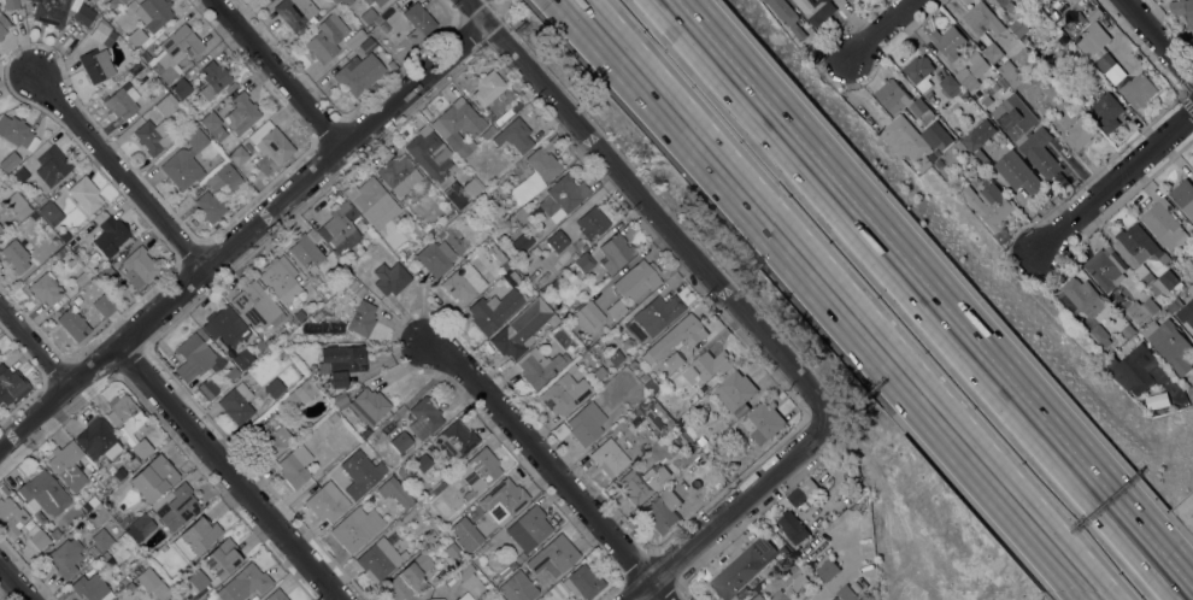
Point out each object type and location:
building: (114, 1)
building: (346, 1)
building: (365, 1)
building: (378, 1)
building: (10, 4)
building: (1006, 4)
road: (495, 10)
building: (817, 10)
building: (51, 11)
building: (295, 11)
building: (1182, 11)
building: (153, 12)
building: (83, 13)
building: (366, 16)
building: (786, 16)
building: (1091, 16)
building: (982, 19)
building: (417, 20)
building: (2, 24)
building: (1018, 28)
road: (877, 30)
building: (1070, 30)
building: (102, 31)
building: (325, 36)
building: (136, 37)
building: (354, 37)
building: (1093, 40)
building: (947, 41)
road: (1157, 41)
building: (181, 42)
building: (366, 43)
building: (992, 52)
building: (1105, 61)
building: (96, 64)
building: (164, 70)
road: (276, 71)
building: (358, 72)
building: (919, 72)
building: (971, 72)
building: (1011, 73)
building: (213, 77)
building: (1001, 82)
building: (230, 86)
building: (950, 86)
building: (181, 87)
building: (994, 87)
building: (1007, 89)
building: (1138, 89)
building: (492, 92)
building: (157, 93)
building: (124, 98)
building: (901, 100)
building: (165, 105)
building: (1106, 111)
building: (241, 112)
building: (213, 124)
building: (458, 127)
building: (14, 130)
building: (487, 130)
building: (1080, 133)
building: (153, 134)
building: (1027, 134)
building: (936, 135)
building: (977, 135)
building: (515, 136)
building: (903, 139)
building: (270, 142)
building: (935, 152)
building: (237, 154)
building: (982, 157)
building: (8, 159)
building: (184, 160)
building: (543, 163)
building: (938, 163)
building: (52, 164)
building: (441, 166)
road: (121, 170)
building: (1018, 172)
building: (399, 173)
building: (19, 175)
road: (1112, 175)
building: (224, 178)
building: (539, 184)
building: (84, 193)
building: (563, 194)
building: (1183, 196)
building: (372, 200)
building: (18, 204)
building: (988, 204)
building: (210, 206)
road: (650, 206)
building: (49, 211)
building: (593, 220)
building: (1163, 223)
building: (0, 228)
building: (340, 229)
road: (243, 234)
building: (440, 234)
building: (64, 235)
building: (111, 235)
building: (556, 239)
building: (521, 241)
building: (305, 248)
building: (615, 251)
building: (14, 255)
building: (435, 257)
building: (584, 261)
building: (1134, 261)
building: (504, 264)
building: (139, 265)
building: (1105, 267)
building: (510, 276)
building: (81, 277)
building: (281, 277)
building: (390, 277)
building: (111, 280)
building: (466, 280)
building: (636, 280)
building: (554, 283)
building: (45, 288)
building: (1083, 296)
road: (833, 300)
road: (928, 300)
building: (104, 305)
building: (257, 305)
building: (1173, 307)
building: (494, 308)
building: (617, 308)
building: (1139, 312)
building: (1162, 313)
building: (1186, 313)
building: (299, 314)
building: (588, 314)
building: (656, 316)
building: (362, 318)
building: (72, 323)
building: (292, 323)
building: (225, 325)
building: (522, 328)
building: (1127, 330)
building: (1098, 334)
building: (675, 337)
road: (34, 342)
building: (1169, 343)
building: (578, 348)
building: (283, 354)
building: (615, 357)
building: (242, 358)
building: (590, 359)
building: (674, 359)
building: (198, 361)
building: (343, 361)
building: (631, 363)
building: (709, 365)
building: (539, 366)
building: (1136, 370)
building: (599, 371)
building: (231, 373)
building: (647, 381)
building: (11, 384)
building: (274, 387)
building: (734, 390)
building: (299, 393)
building: (564, 393)
road: (1188, 394)
road: (1176, 396)
building: (236, 402)
building: (364, 404)
building: (741, 408)
building: (125, 412)
building: (333, 416)
building: (424, 417)
building: (586, 422)
building: (765, 422)
building: (98, 437)
building: (270, 439)
building: (456, 440)
building: (701, 440)
building: (401, 441)
building: (141, 447)
building: (609, 457)
building: (422, 461)
building: (66, 466)
building: (294, 466)
road: (550, 466)
building: (480, 469)
road: (229, 471)
building: (121, 473)
building: (354, 473)
building: (153, 477)
building: (642, 481)
building: (436, 489)
building: (395, 490)
building: (710, 492)
building: (801, 492)
building: (43, 494)
building: (503, 499)
building: (327, 500)
building: (178, 506)
building: (112, 507)
road: (727, 510)
building: (663, 511)
building: (11, 517)
building: (125, 519)
building: (140, 527)
building: (355, 527)
building: (529, 528)
building: (792, 528)
building: (466, 531)
building: (55, 533)
building: (195, 536)
building: (39, 537)
building: (101, 539)
building: (451, 549)
building: (93, 551)
building: (114, 553)
building: (553, 555)
building: (65, 557)
building: (222, 557)
building: (519, 557)
building: (378, 559)
building: (507, 567)
building: (742, 567)
building: (827, 570)
building: (783, 573)
building: (470, 577)
building: (199, 578)
building: (407, 580)
building: (813, 580)
building: (149, 581)
building: (583, 581)
building: (243, 582)
road: (14, 583)
building: (518, 587)
building: (90, 588)
building: (792, 589)
building: (845, 593)
building: (874, 594)
building: (275, 595)
building: (210, 596)
building: (465, 596)
building: (756, 596)
building: (204, 599)
building: (428, 599)
building: (442, 599)
building: (834, 599)

